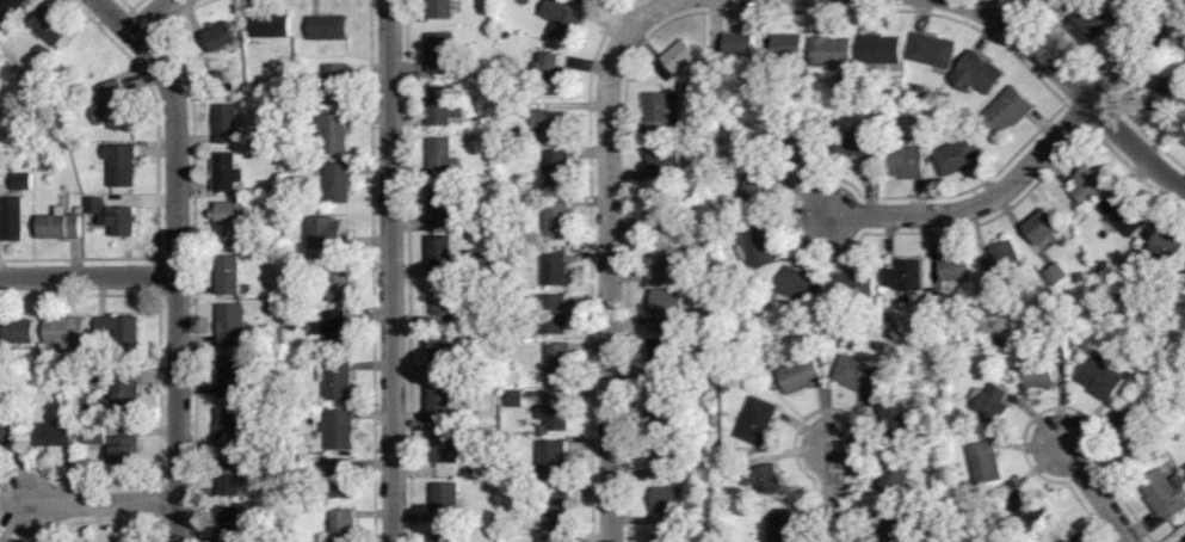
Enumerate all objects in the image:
building: (597, 0)
building: (601, 0)
building: (1049, 1)
building: (1122, 4)
building: (10, 8)
building: (442, 10)
road: (149, 16)
road: (643, 17)
building: (561, 19)
building: (1092, 24)
building: (49, 25)
building: (270, 26)
building: (329, 29)
building: (505, 35)
building: (222, 37)
building: (737, 47)
building: (786, 48)
building: (880, 50)
building: (932, 51)
building: (39, 53)
building: (443, 53)
building: (831, 53)
road: (1136, 56)
building: (679, 57)
building: (550, 72)
building: (717, 72)
building: (469, 74)
building: (767, 74)
building: (976, 74)
building: (220, 75)
building: (900, 81)
building: (338, 84)
building: (683, 86)
road: (1075, 88)
building: (767, 91)
building: (921, 92)
building: (674, 97)
building: (1167, 99)
building: (298, 103)
building: (112, 106)
building: (443, 107)
building: (658, 107)
building: (519, 109)
building: (1007, 112)
building: (918, 117)
building: (227, 124)
building: (551, 125)
building: (681, 127)
building: (332, 134)
building: (853, 143)
building: (1184, 143)
building: (801, 148)
building: (290, 152)
building: (957, 156)
building: (442, 159)
building: (665, 159)
building: (763, 159)
building: (905, 162)
building: (122, 165)
building: (557, 170)
building: (226, 173)
building: (21, 181)
building: (338, 184)
building: (502, 184)
building: (1090, 184)
building: (757, 187)
building: (264, 190)
road: (977, 203)
building: (97, 204)
building: (444, 207)
building: (80, 210)
building: (658, 211)
building: (1124, 214)
building: (290, 215)
building: (556, 217)
building: (494, 218)
building: (14, 220)
building: (229, 220)
building: (123, 221)
building: (61, 226)
building: (1043, 227)
building: (745, 228)
building: (331, 234)
building: (1167, 247)
building: (757, 248)
building: (442, 251)
road: (177, 257)
building: (661, 261)
building: (1004, 261)
building: (311, 264)
building: (555, 266)
building: (482, 267)
building: (956, 269)
road: (391, 271)
road: (88, 273)
building: (684, 275)
building: (1056, 275)
building: (228, 276)
building: (905, 276)
building: (1105, 278)
building: (339, 282)
building: (852, 288)
building: (490, 289)
building: (800, 289)
building: (1117, 291)
road: (609, 292)
building: (444, 301)
building: (937, 302)
building: (519, 303)
building: (279, 306)
building: (667, 306)
building: (551, 314)
building: (1171, 316)
building: (979, 318)
building: (888, 319)
building: (232, 325)
building: (833, 325)
building: (292, 327)
building: (119, 331)
building: (334, 331)
building: (708, 331)
building: (19, 332)
building: (63, 335)
building: (996, 344)
building: (742, 345)
building: (1178, 345)
building: (443, 350)
building: (1060, 353)
building: (1, 357)
building: (664, 358)
building: (558, 363)
building: (82, 367)
building: (1041, 374)
building: (801, 376)
building: (859, 376)
building: (233, 377)
building: (1101, 378)
building: (337, 380)
building: (121, 394)
building: (442, 399)
building: (516, 399)
building: (317, 402)
building: (992, 404)
building: (67, 406)
building: (660, 407)
building: (84, 409)
building: (897, 414)
building: (556, 415)
building: (757, 421)
building: (1129, 426)
building: (227, 427)
building: (543, 430)
building: (338, 431)
building: (8, 433)
building: (928, 435)
building: (54, 436)
building: (94, 436)
building: (1173, 437)
building: (446, 449)
building: (125, 450)
building: (492, 457)
building: (661, 457)
building: (322, 458)
building: (553, 460)
building: (985, 462)
building: (686, 474)
building: (896, 475)
building: (233, 478)
building: (340, 479)
building: (764, 480)
building: (1177, 480)
road: (1098, 492)
road: (831, 493)
building: (933, 495)
building: (1164, 497)
road: (101, 501)
building: (445, 503)
building: (667, 506)
building: (272, 510)
building: (558, 510)
building: (914, 510)
building: (1030, 510)
building: (229, 524)
building: (344, 525)
building: (780, 525)
building: (891, 525)
building: (728, 530)
building: (442, 537)
building: (556, 540)
building: (662, 540)
building: (1068, 541)

